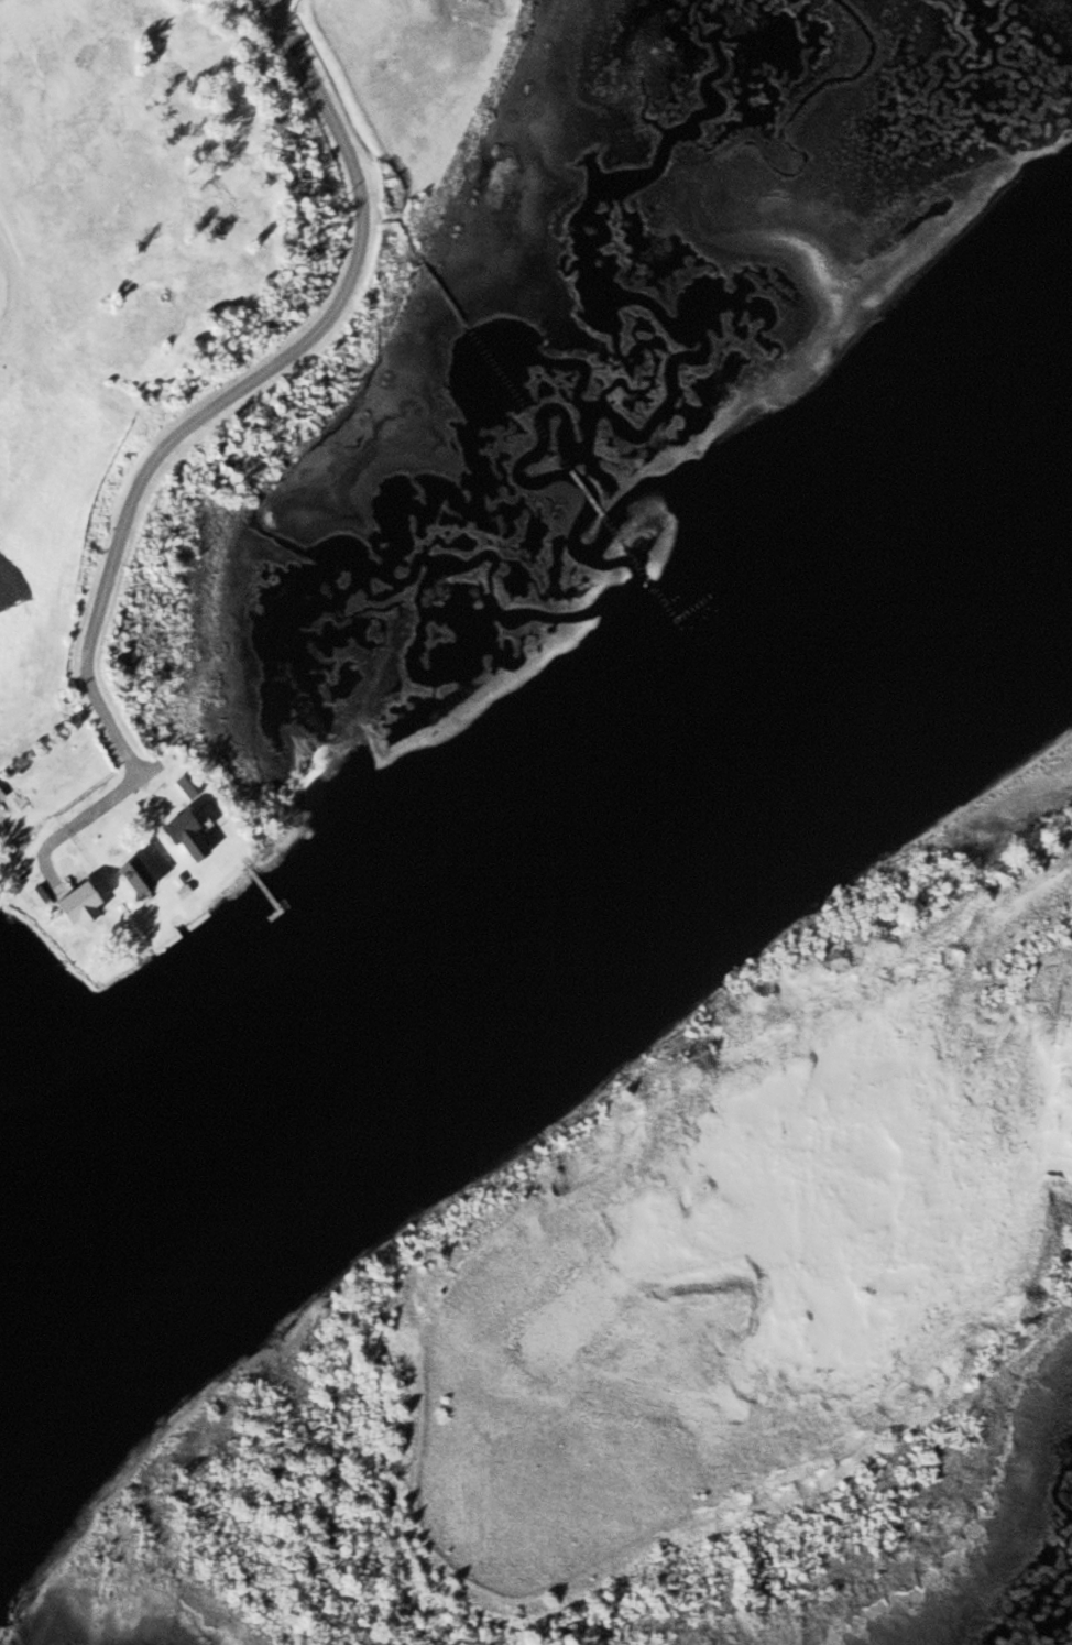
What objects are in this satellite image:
road: (10, 287)
road: (236, 389)
building: (185, 784)
building: (0, 796)
road: (110, 802)
building: (177, 831)
building: (129, 874)
building: (35, 895)
building: (72, 903)

